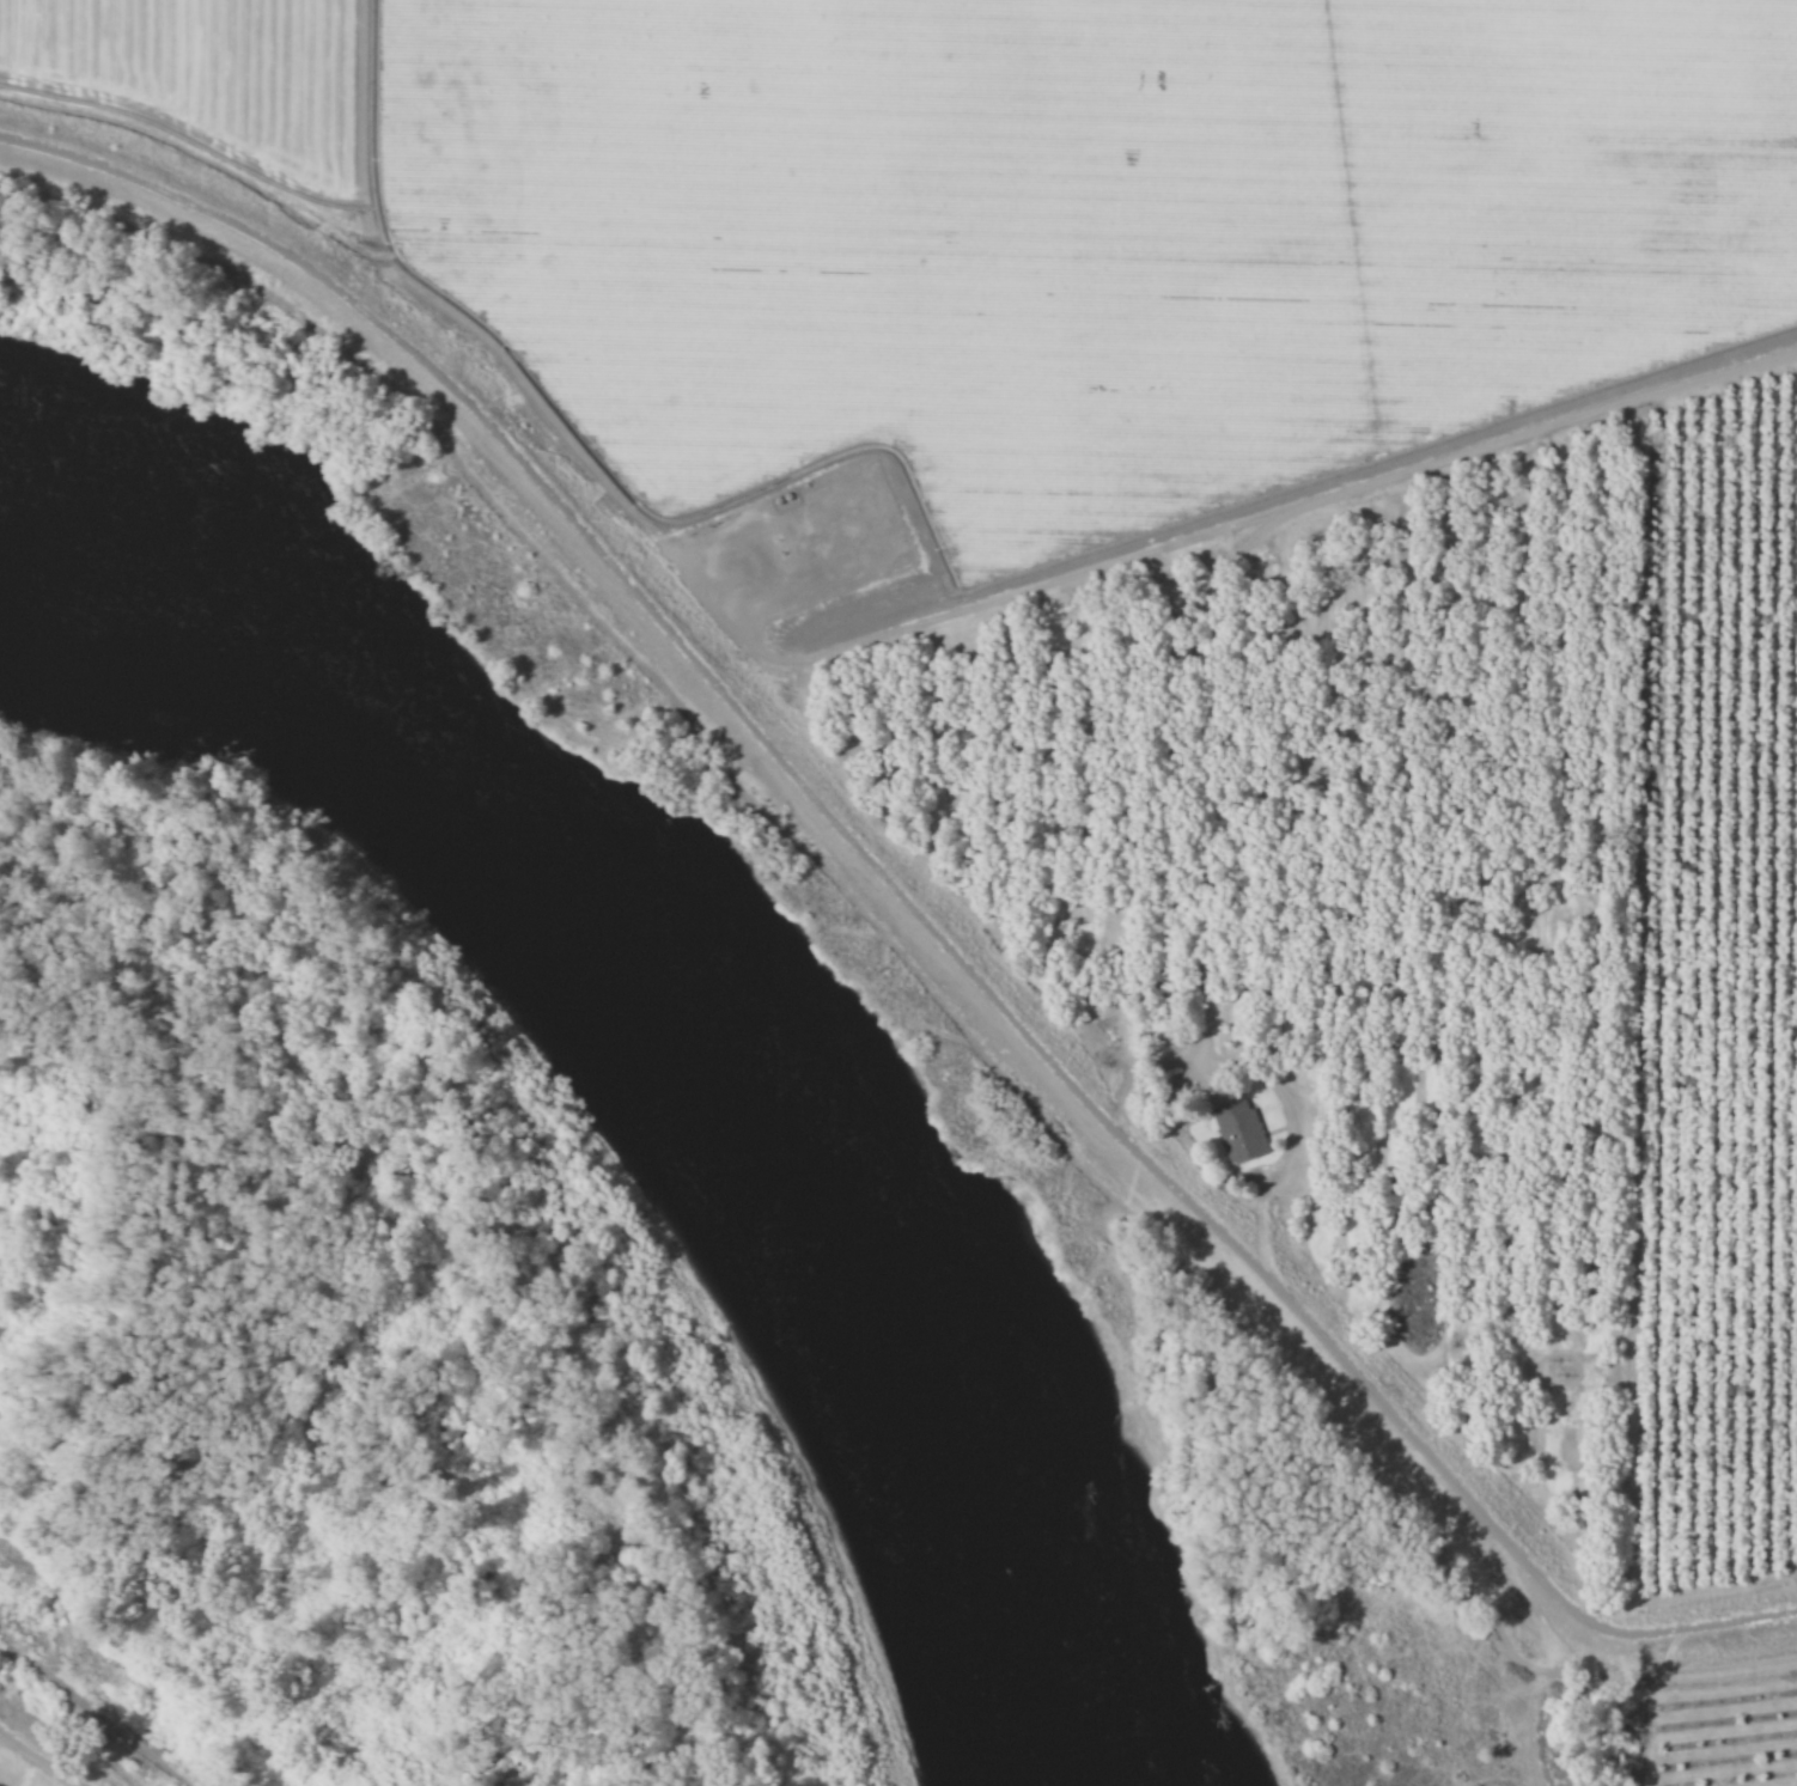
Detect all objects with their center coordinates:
road: (909, 892)
river: (623, 1048)
building: (1244, 1130)
road: (44, 1755)

